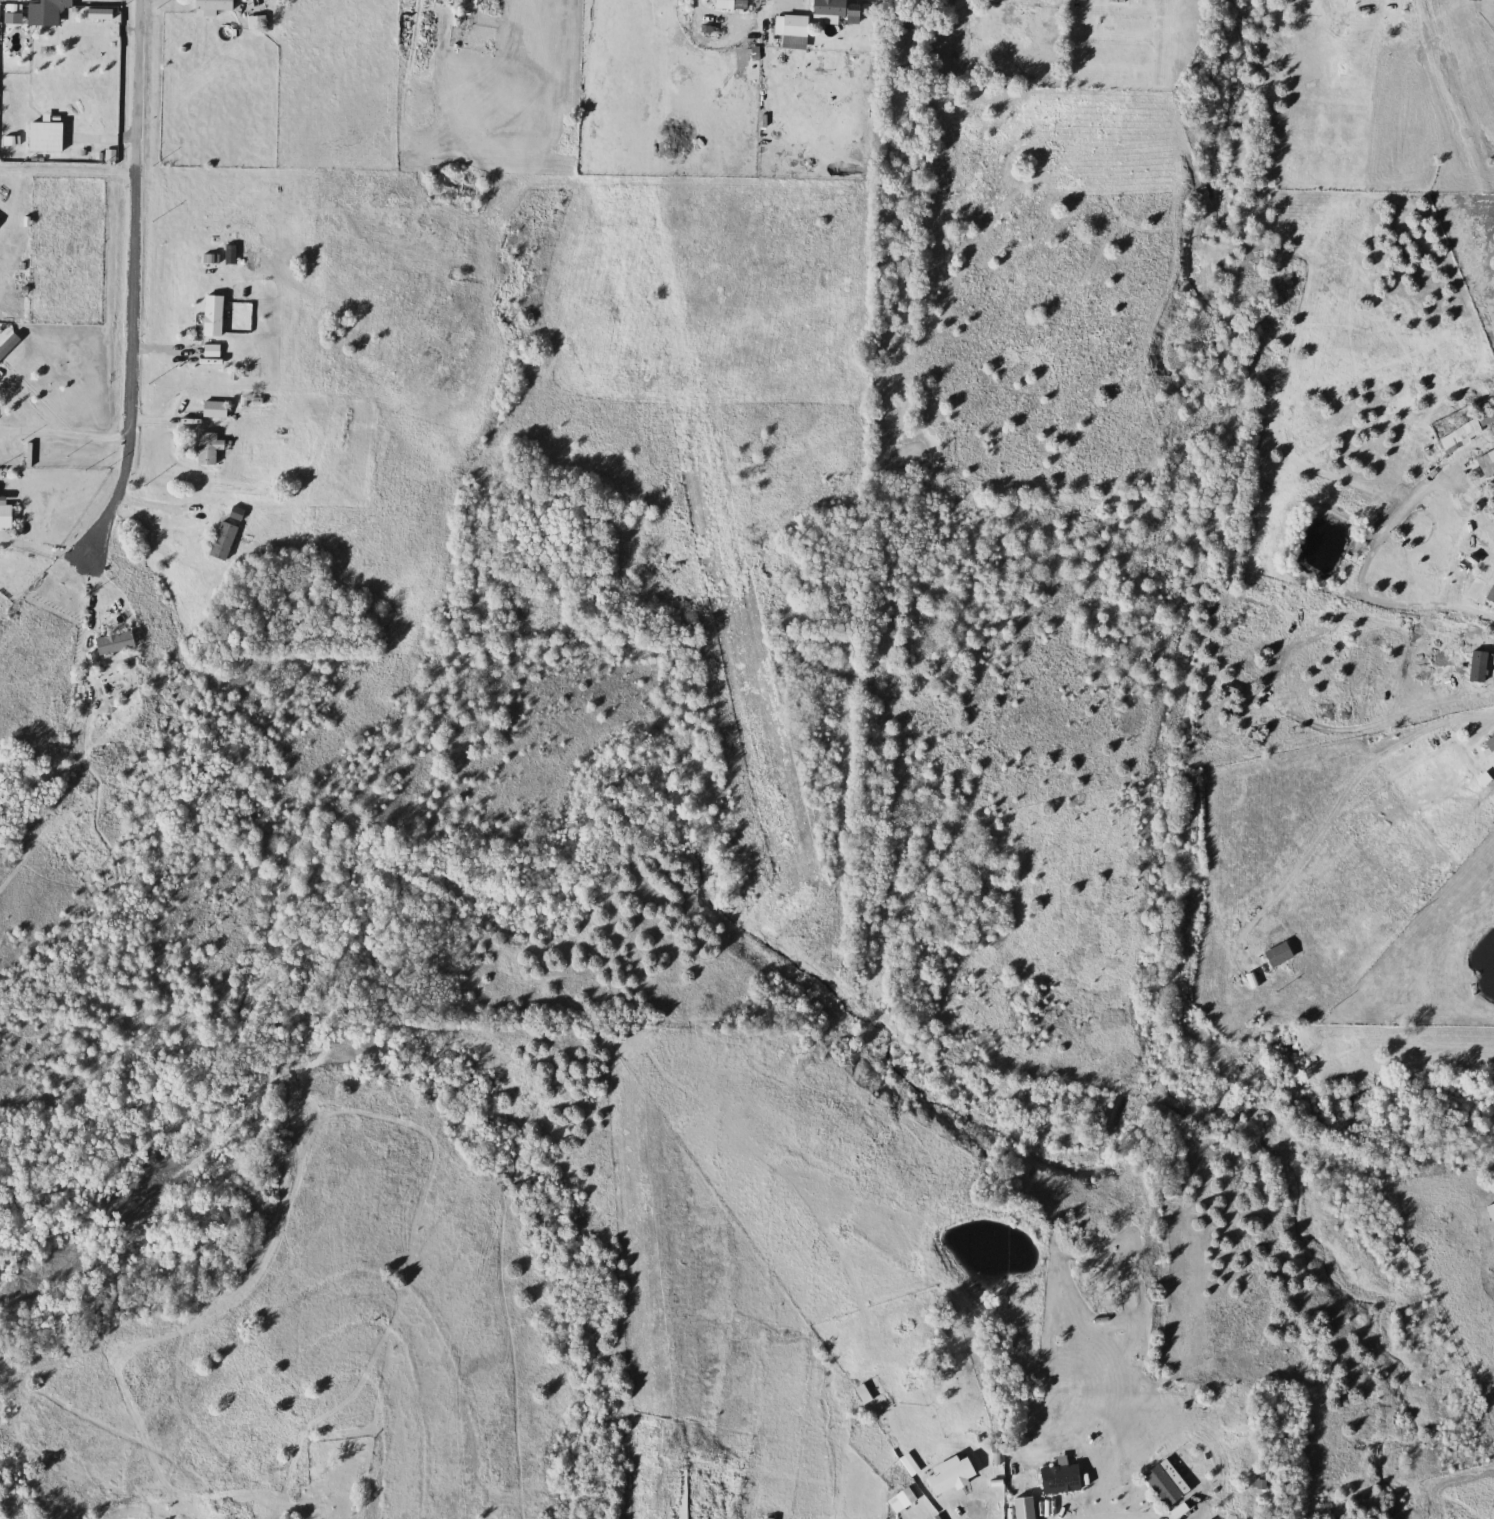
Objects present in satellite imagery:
road: (797, 1)
building: (721, 4)
building: (218, 5)
building: (826, 8)
building: (57, 11)
building: (788, 31)
road: (66, 170)
building: (1, 221)
road: (129, 282)
building: (217, 315)
building: (215, 352)
building: (218, 409)
building: (1464, 431)
road: (63, 434)
building: (212, 448)
building: (1485, 463)
road: (163, 509)
building: (8, 512)
building: (227, 541)
road: (41, 549)
road: (1358, 582)
building: (1490, 593)
building: (119, 643)
building: (1488, 743)
road: (1346, 797)
building: (1274, 955)
building: (946, 1477)
building: (1056, 1479)
building: (1162, 1484)
building: (1257, 1486)
building: (302, 1507)
building: (1020, 1508)
road: (969, 1511)
road: (1124, 1517)

